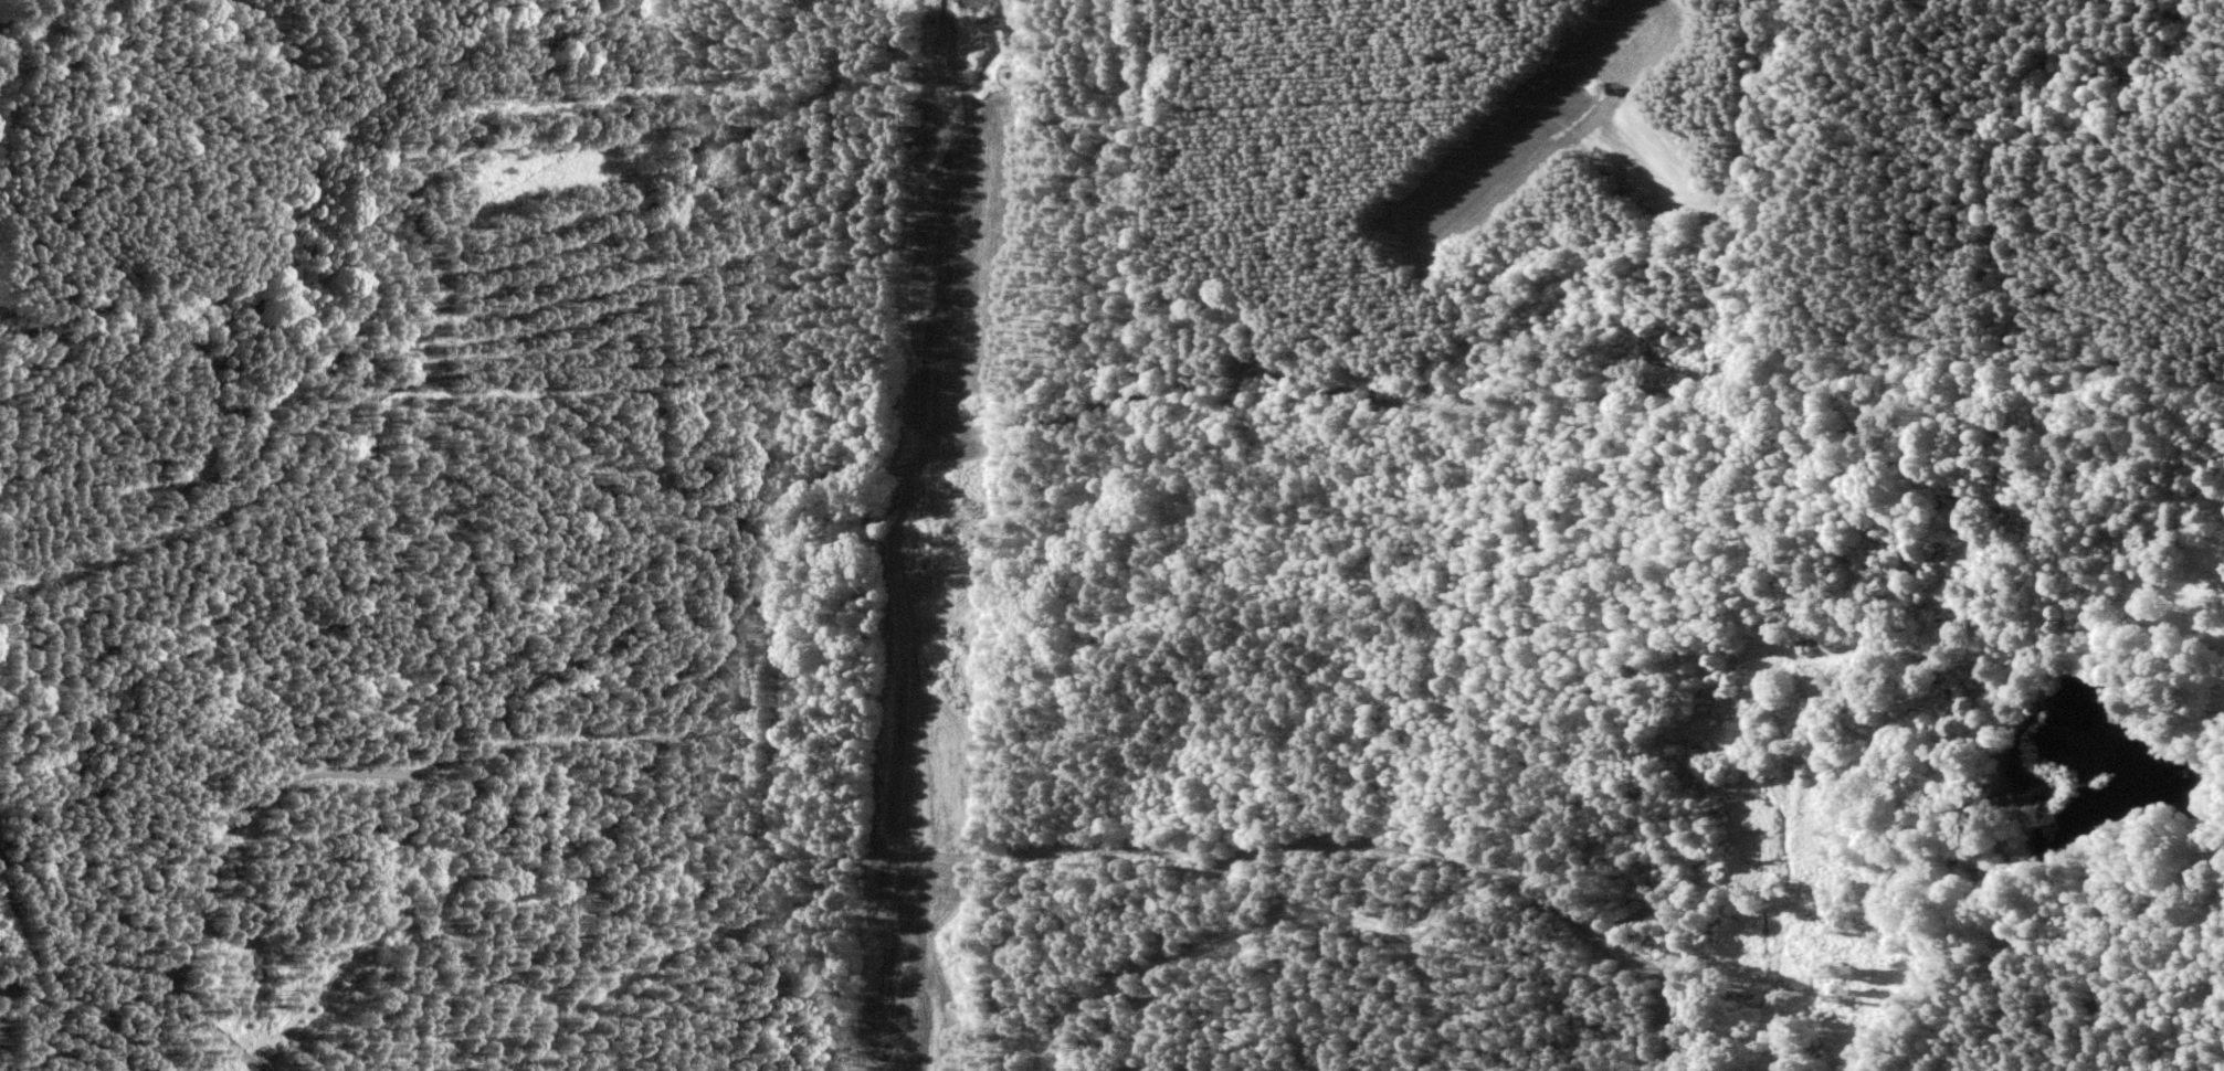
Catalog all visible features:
power tower: (957, 364)

